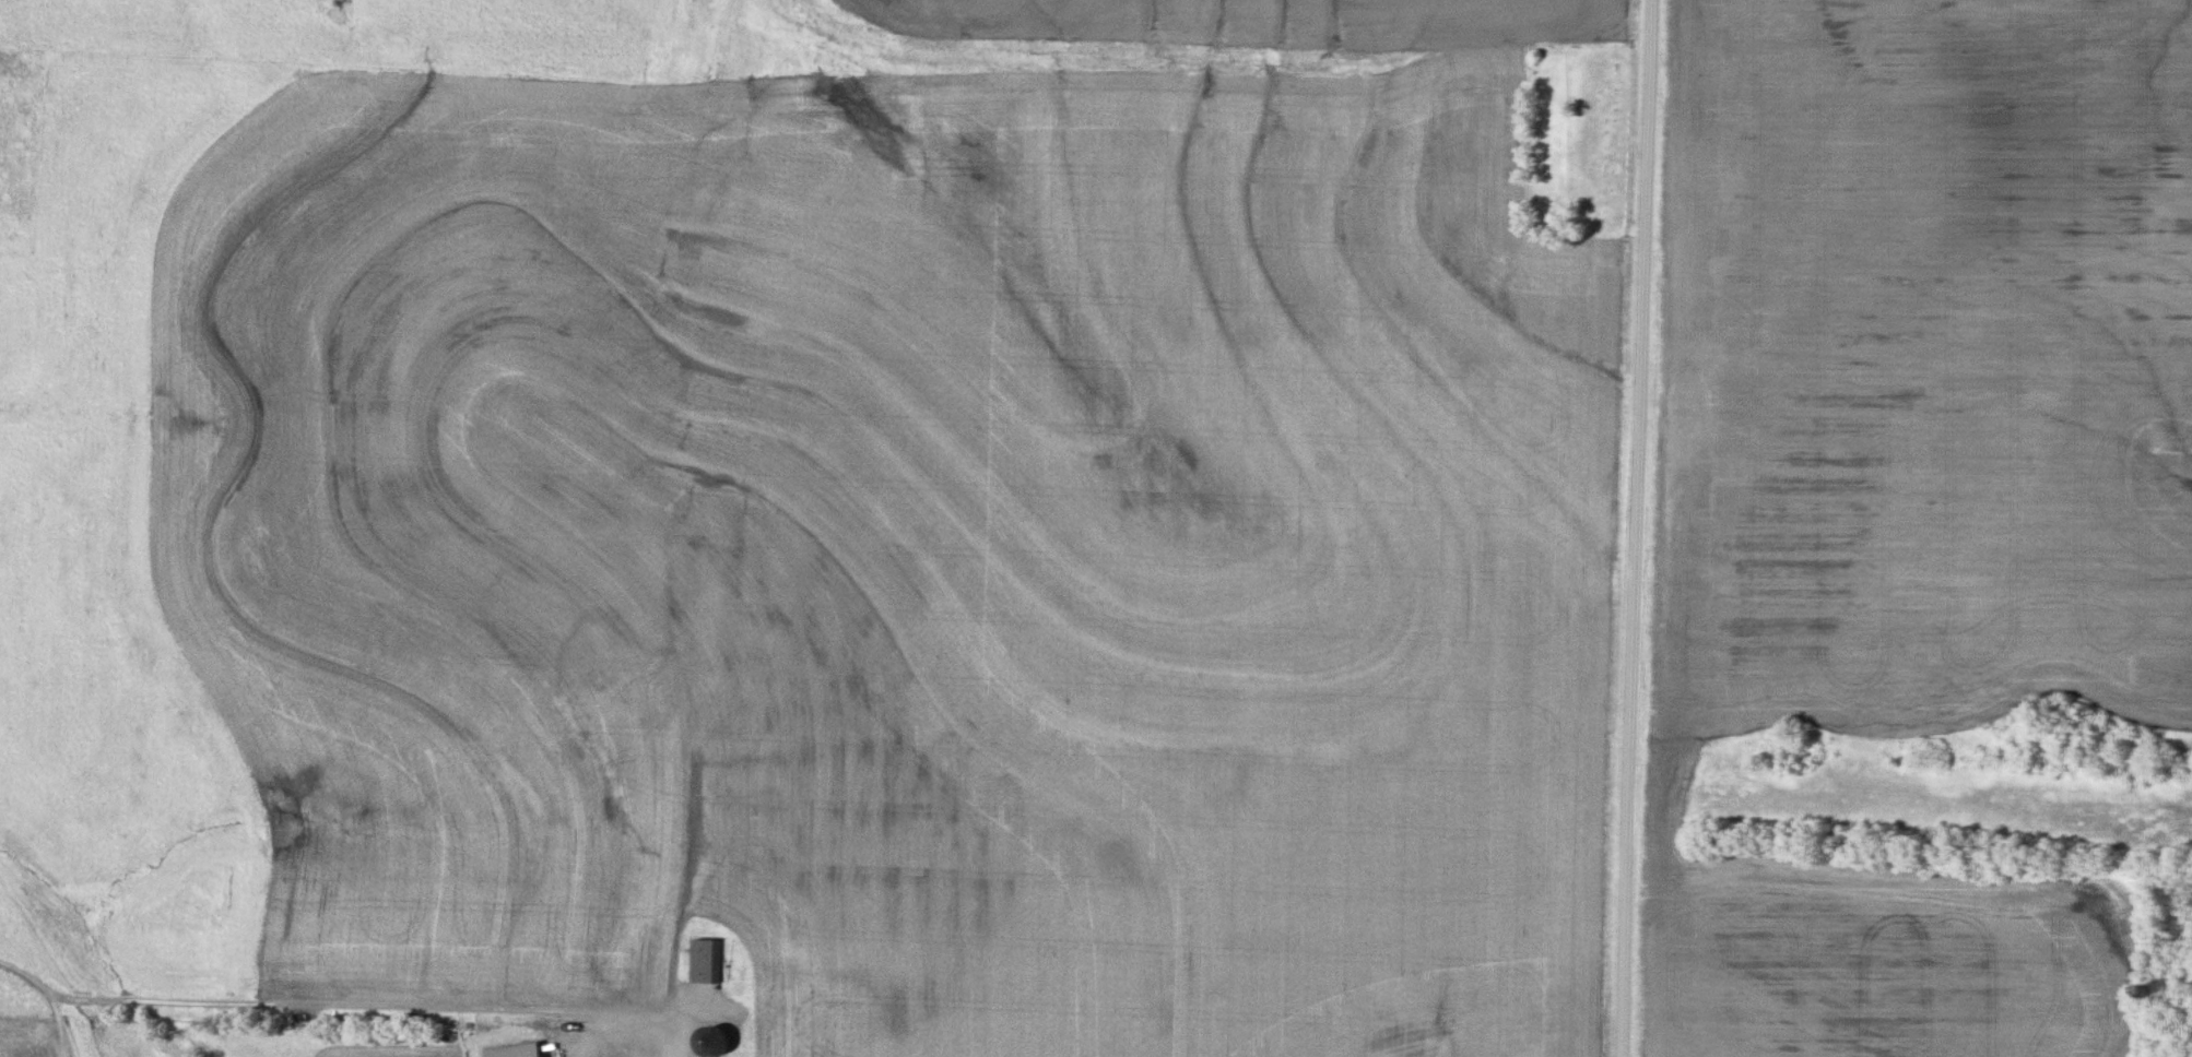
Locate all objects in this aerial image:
crop: (1275, 22)
road: (4, 112)
park: (1581, 140)
crop: (1912, 485)
road: (686, 526)
road: (1637, 527)
crop: (824, 548)
building: (708, 963)
road: (329, 1005)
road: (629, 1042)
building: (711, 1044)
crop: (368, 1047)
building: (519, 1052)

